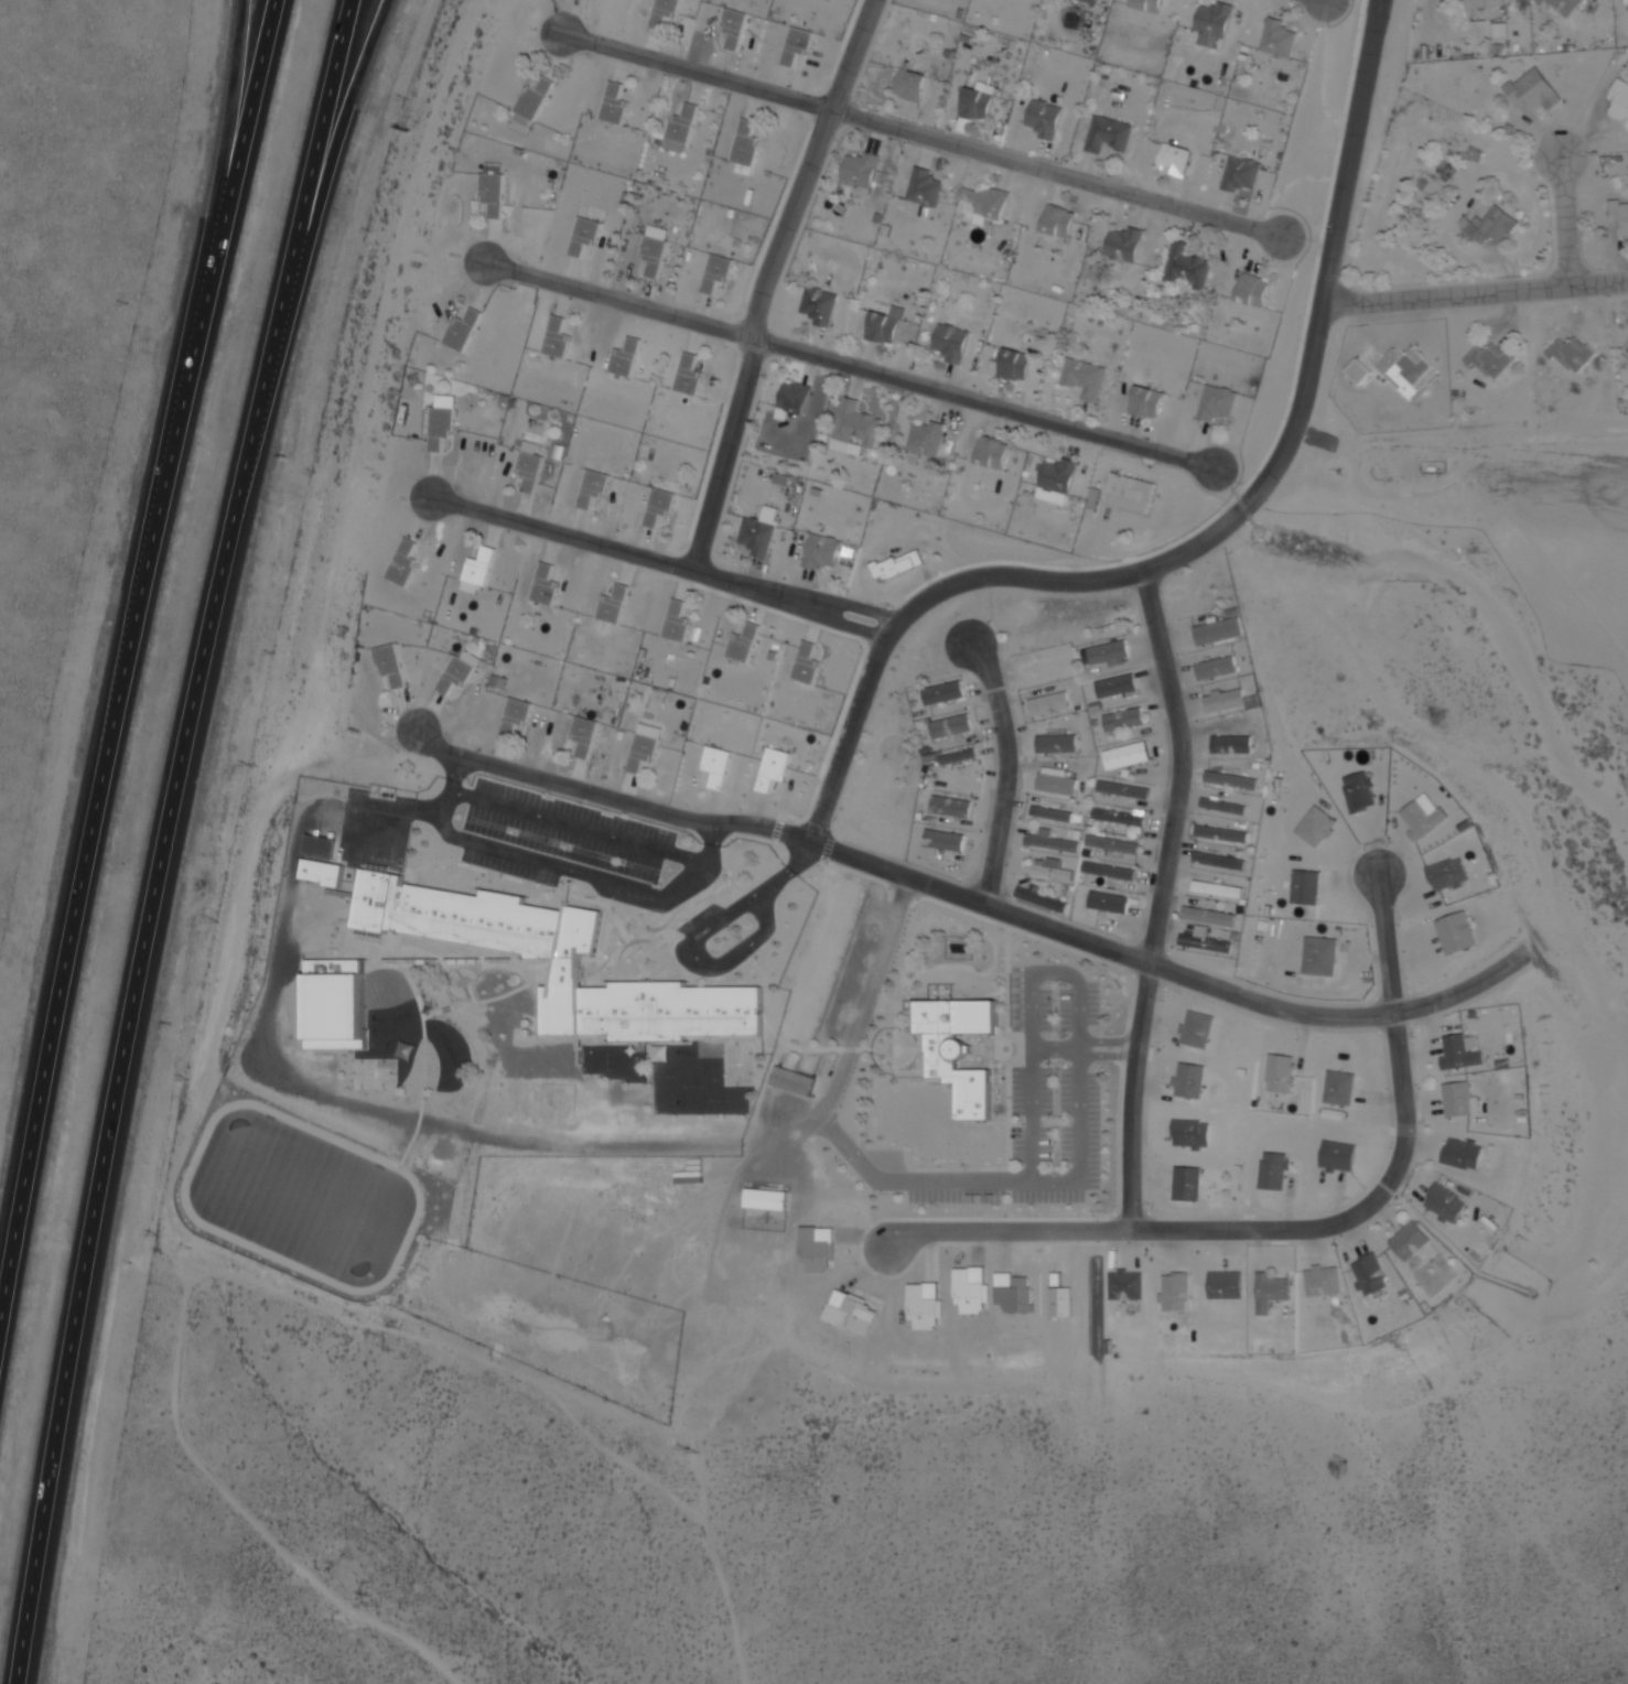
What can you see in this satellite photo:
building: (1092, 2)
building: (1487, 3)
building: (1150, 4)
building: (1566, 6)
building: (667, 11)
building: (1216, 23)
building: (736, 28)
building: (1280, 39)
building: (799, 44)
road: (1323, 73)
building: (913, 86)
building: (1535, 90)
building: (1621, 99)
building: (536, 101)
building: (616, 104)
building: (977, 107)
building: (1047, 118)
building: (683, 127)
road: (344, 130)
road: (327, 131)
road: (923, 134)
building: (1110, 134)
building: (747, 149)
road: (229, 160)
road: (240, 160)
building: (1177, 161)
building: (861, 171)
building: (1242, 174)
road: (1289, 183)
building: (926, 187)
building: (495, 188)
building: (994, 204)
building: (1620, 215)
building: (1060, 220)
road: (1566, 222)
building: (1497, 225)
building: (587, 235)
building: (1126, 244)
building: (657, 248)
building: (1188, 268)
building: (719, 272)
road: (1475, 289)
building: (1255, 290)
building: (820, 305)
road: (757, 313)
building: (887, 325)
building: (464, 331)
building: (559, 338)
building: (953, 342)
building: (1627, 352)
building: (1576, 354)
building: (628, 358)
building: (1495, 360)
road: (851, 365)
building: (1016, 365)
building: (1411, 371)
building: (691, 376)
building: (1086, 378)
building: (795, 399)
building: (1150, 402)
building: (1219, 403)
building: (443, 422)
building: (855, 427)
building: (927, 440)
building: (858, 450)
building: (993, 453)
building: (532, 467)
building: (1059, 481)
building: (595, 487)
road: (1229, 487)
building: (1132, 494)
building: (661, 506)
building: (761, 532)
road: (563, 533)
road: (1208, 533)
building: (824, 550)
building: (406, 563)
building: (899, 565)
building: (481, 570)
building: (547, 585)
road: (831, 602)
building: (615, 605)
road: (822, 614)
building: (679, 623)
building: (1218, 630)
building: (746, 644)
building: (1112, 654)
building: (391, 665)
building: (808, 665)
building: (1219, 668)
building: (1044, 670)
building: (460, 672)
building: (1119, 687)
building: (945, 693)
building: (1231, 701)
building: (1052, 704)
building: (517, 716)
building: (1125, 720)
building: (953, 727)
building: (586, 736)
building: (1058, 744)
building: (1235, 745)
building: (646, 747)
building: (1129, 757)
building: (961, 765)
building: (719, 767)
building: (776, 768)
road: (1007, 771)
building: (1235, 780)
building: (1058, 781)
building: (1125, 790)
building: (1361, 792)
building: (1225, 806)
building: (952, 808)
building: (1055, 814)
building: (1123, 818)
building: (1425, 820)
building: (1319, 827)
road: (581, 828)
building: (1225, 834)
road: (95, 839)
building: (946, 841)
building: (1054, 842)
building: (1115, 844)
building: (1222, 861)
building: (325, 862)
road: (559, 867)
road: (791, 870)
building: (1053, 870)
building: (1111, 871)
building: (1449, 875)
building: (1307, 887)
building: (1223, 890)
road: (1161, 896)
building: (1044, 898)
road: (973, 899)
building: (1110, 902)
building: (845, 907)
building: (1211, 917)
building: (1458, 935)
building: (1207, 941)
building: (830, 946)
building: (1323, 956)
building: (561, 961)
road: (700, 961)
road: (145, 970)
building: (820, 974)
building: (337, 1002)
building: (809, 1006)
building: (1198, 1029)
building: (800, 1032)
building: (960, 1046)
road: (1085, 1048)
building: (1463, 1051)
park: (738, 1061)
park: (376, 1073)
building: (796, 1080)
building: (1192, 1080)
building: (1458, 1098)
building: (1194, 1133)
road: (1083, 1134)
building: (1464, 1153)
building: (1339, 1156)
building: (1275, 1169)
road: (948, 1179)
building: (1189, 1181)
track: (186, 1196)
building: (767, 1199)
building: (1447, 1202)
road: (1300, 1229)
track: (240, 1240)
building: (1412, 1240)
building: (1372, 1274)
building: (1324, 1280)
building: (1128, 1284)
building: (1228, 1285)
building: (1273, 1291)
building: (1176, 1292)

